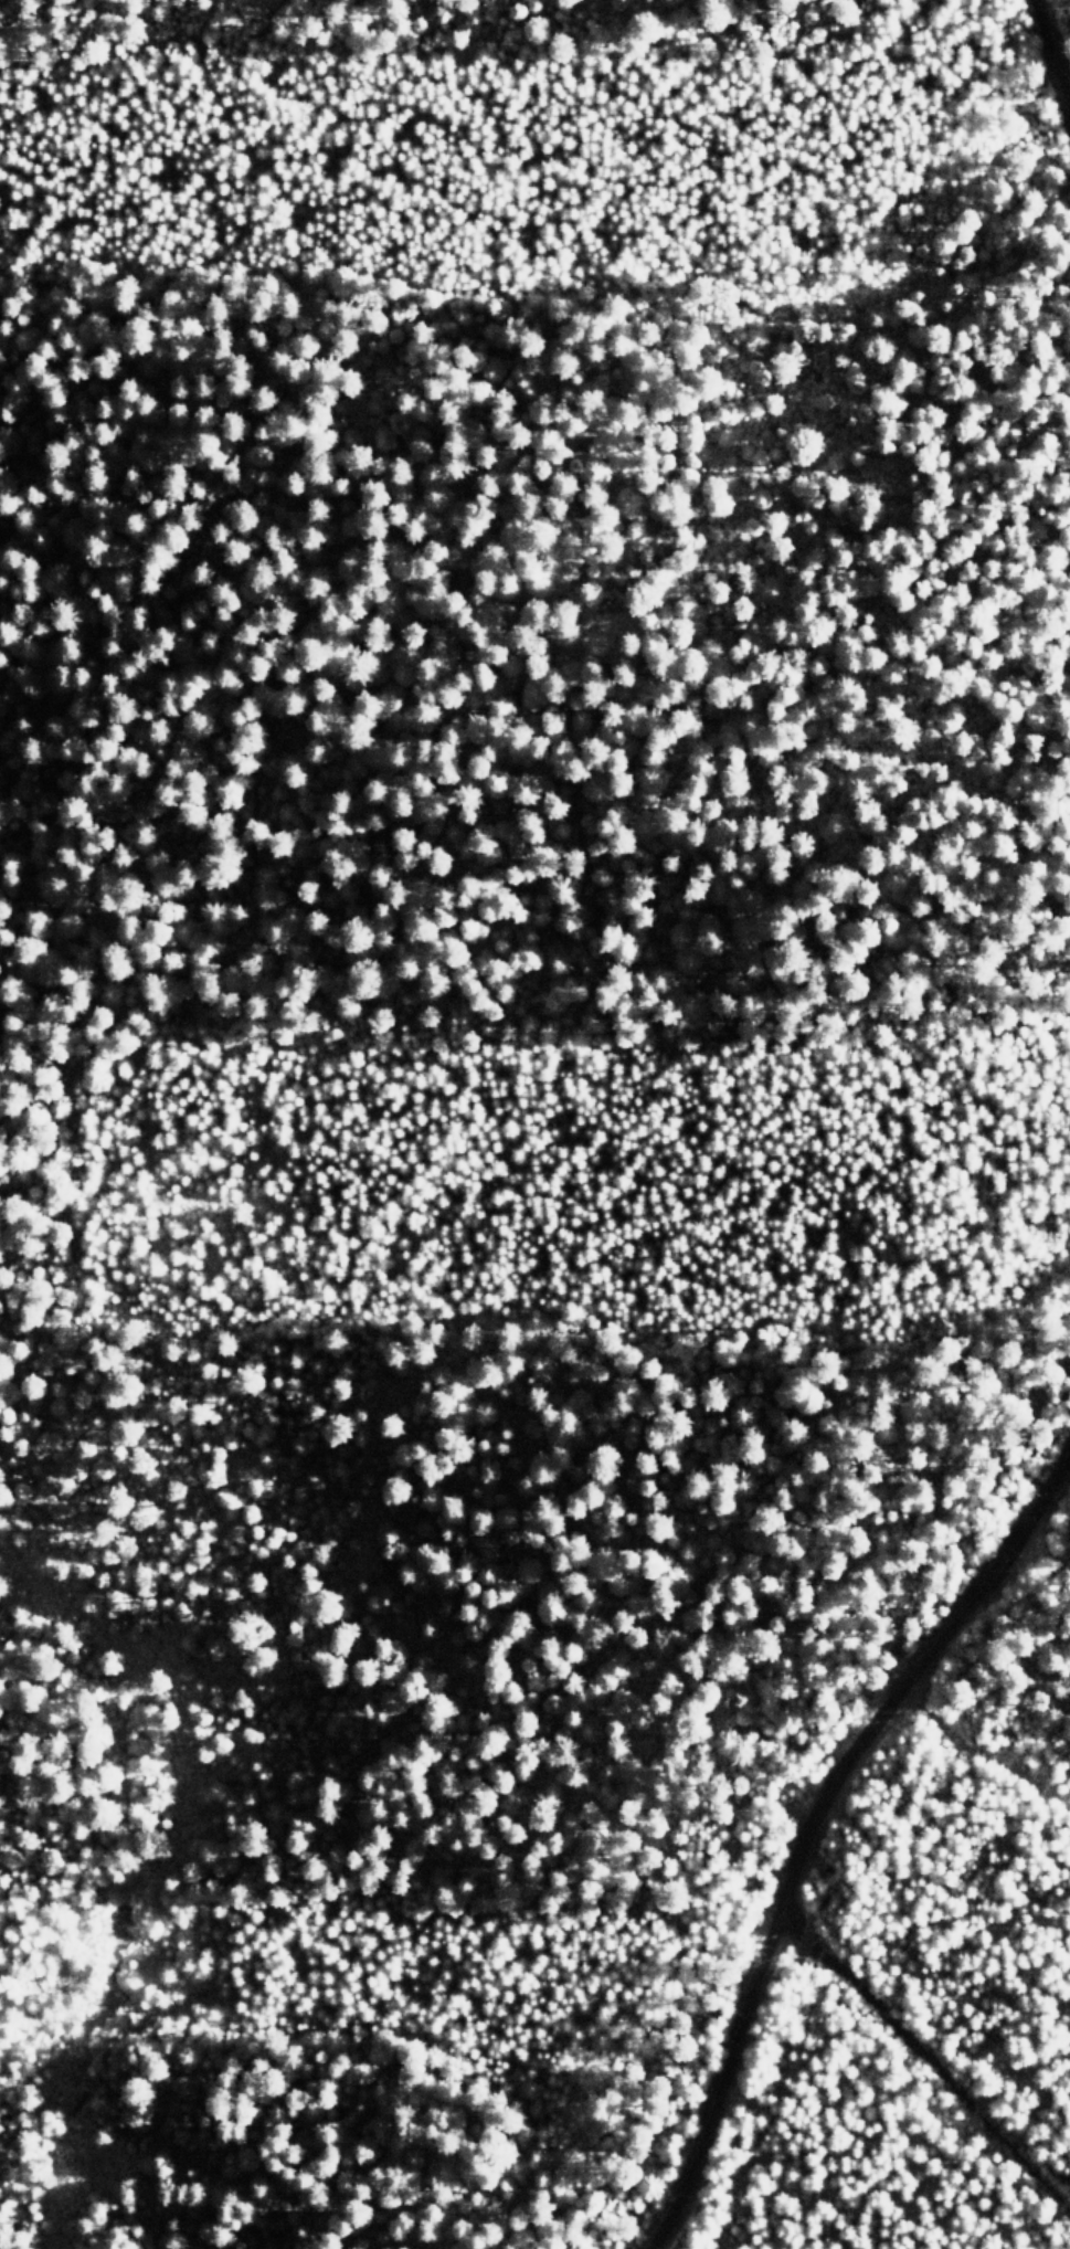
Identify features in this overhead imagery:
road: (1026, 104)
road: (845, 1812)

